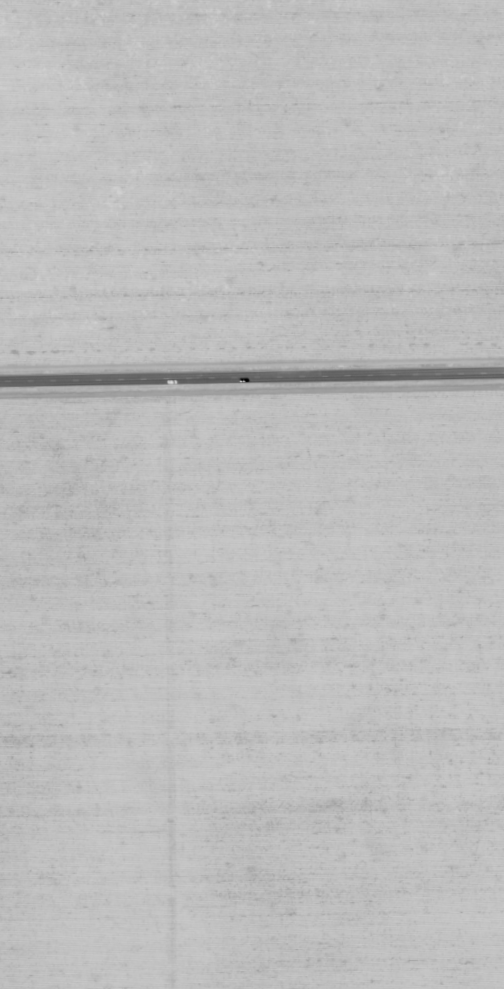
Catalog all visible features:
railway: (300, 332)
road: (252, 379)

